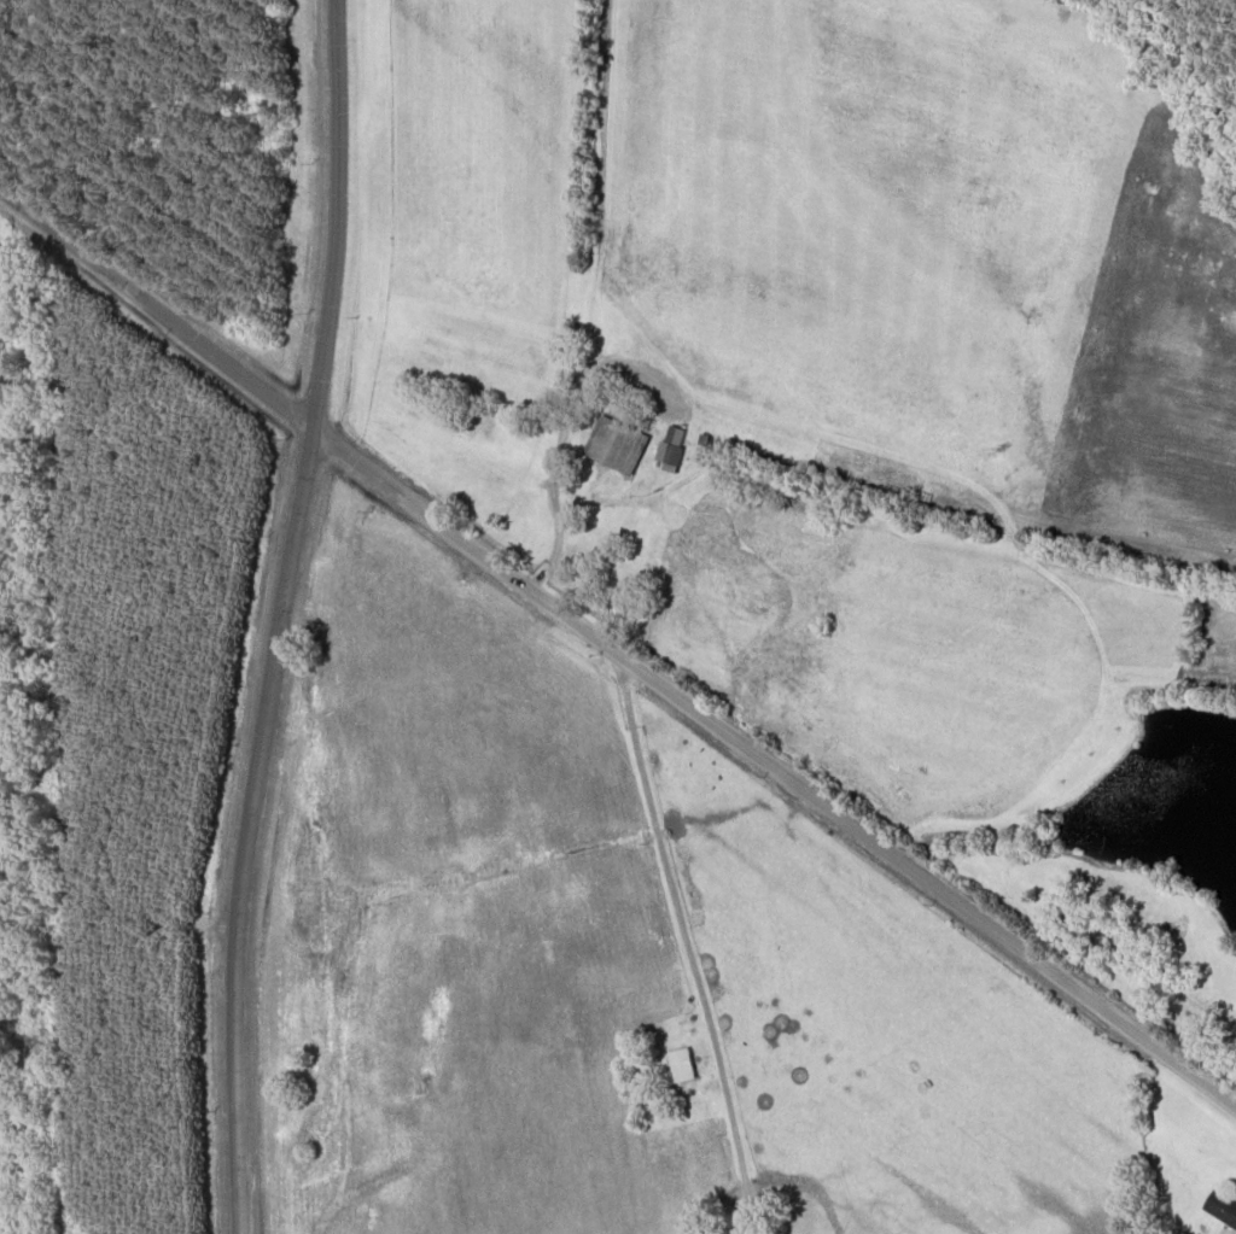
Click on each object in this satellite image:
building: (613, 443)
building: (671, 444)
road: (281, 616)
road: (613, 647)
building: (676, 1064)
building: (1219, 1206)

